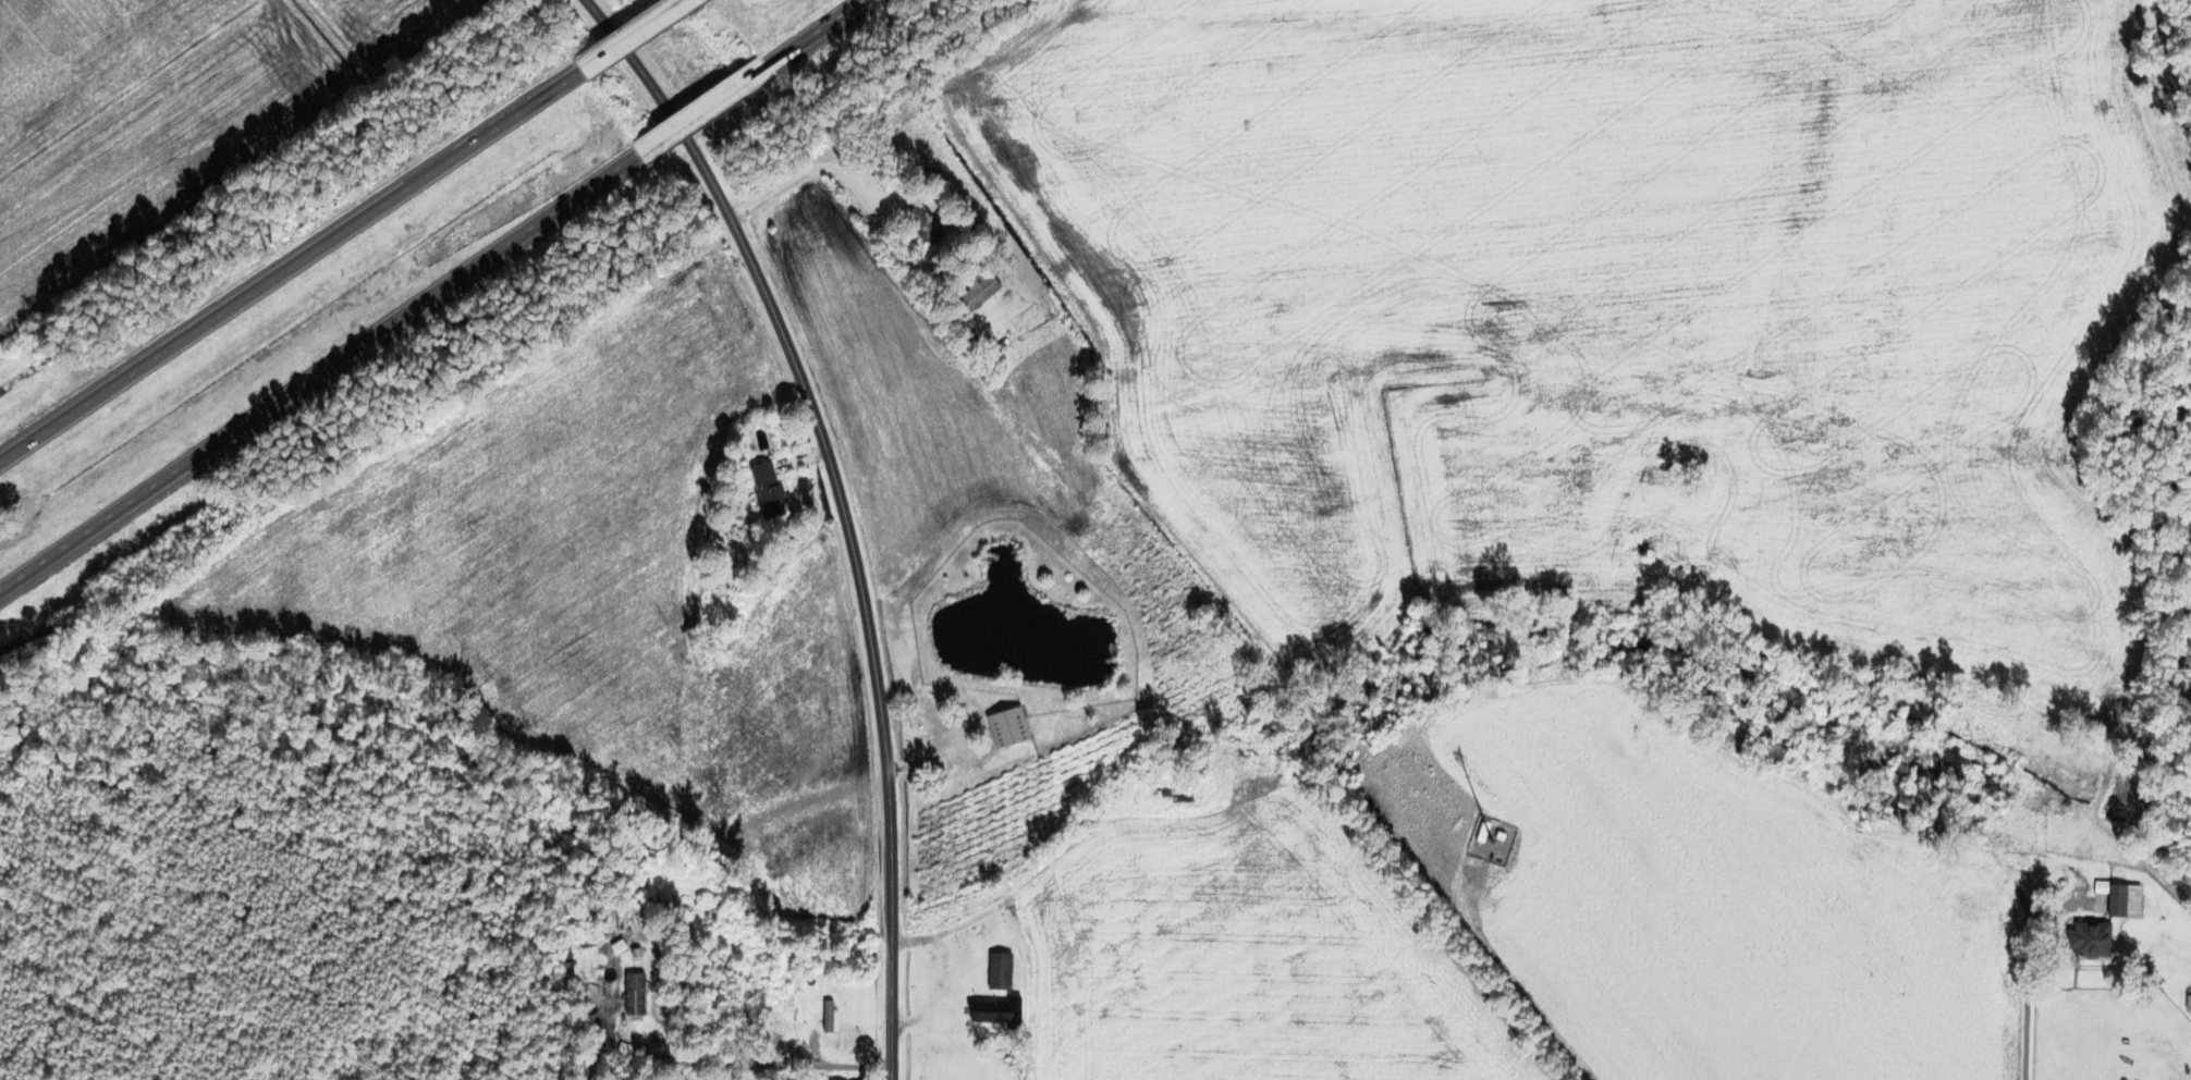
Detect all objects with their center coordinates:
road: (589, 3)
road: (635, 35)
road: (818, 36)
road: (705, 113)
road: (807, 171)
building: (921, 224)
road: (291, 262)
building: (976, 291)
road: (321, 373)
road: (805, 392)
road: (2061, 469)
building: (764, 489)
building: (1004, 726)
building: (1484, 832)
crop: (1700, 894)
building: (2122, 899)
building: (2093, 940)
building: (600, 948)
building: (637, 953)
road: (891, 953)
crop: (1250, 953)
road: (2090, 966)
building: (1000, 971)
road: (1514, 980)
road: (2027, 981)
building: (635, 995)
building: (2189, 1004)
building: (1000, 1014)
building: (829, 1017)
road: (919, 1020)
road: (629, 1034)
road: (813, 1047)
road: (760, 1063)
road: (711, 1071)

